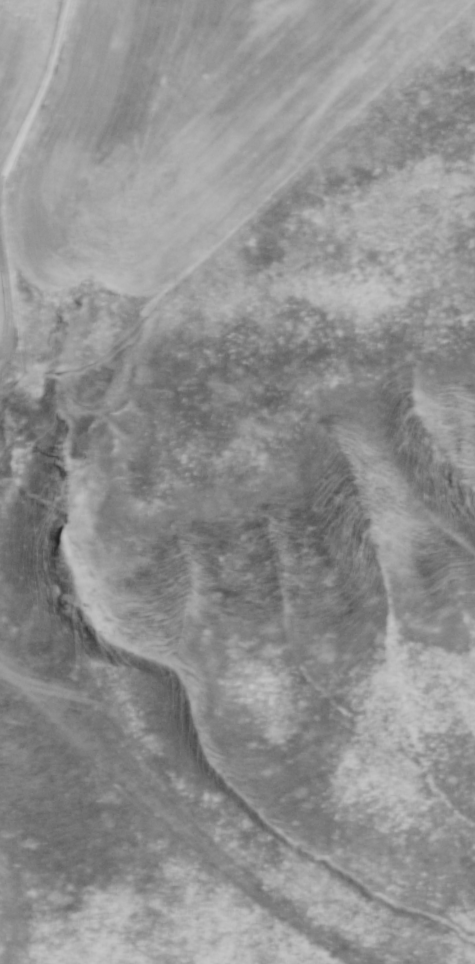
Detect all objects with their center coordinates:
road: (5, 180)

